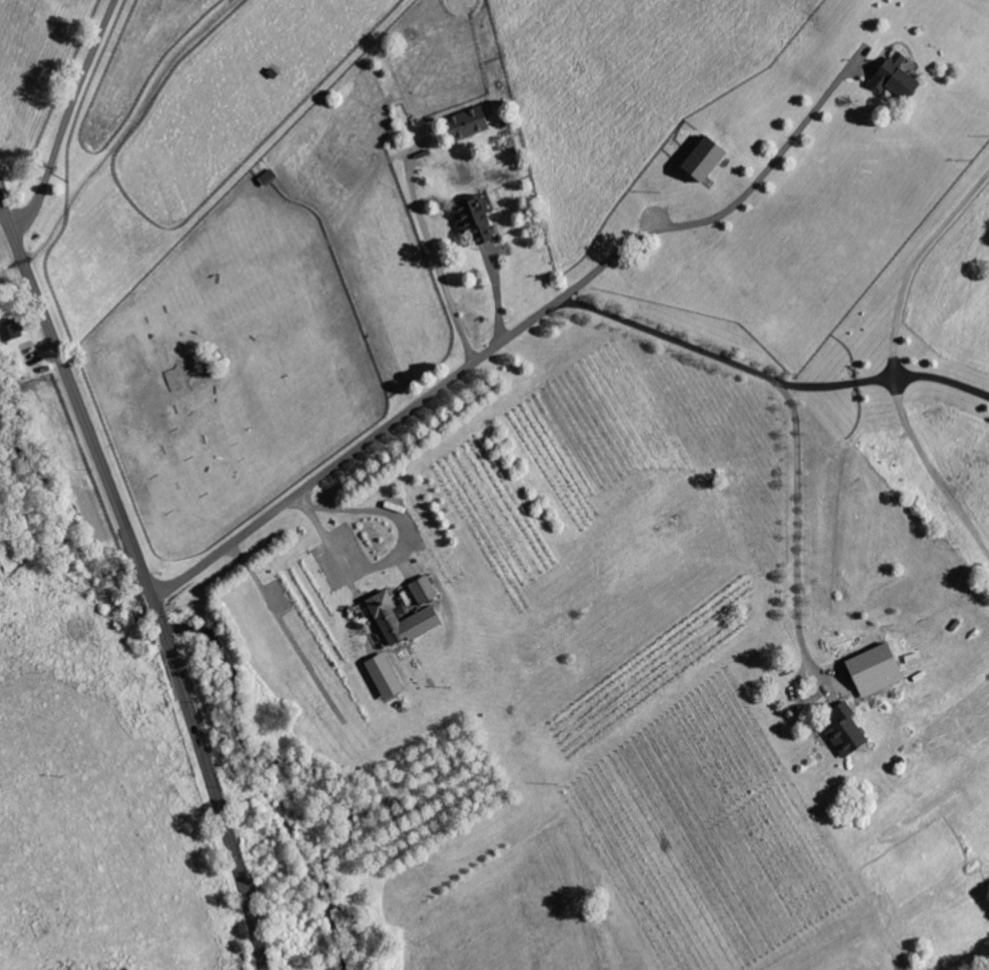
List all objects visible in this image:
building: (900, 78)
road: (66, 119)
building: (471, 122)
building: (712, 157)
building: (269, 176)
building: (478, 222)
road: (434, 257)
road: (912, 263)
road: (495, 298)
road: (490, 350)
road: (769, 379)
road: (796, 535)
road: (397, 557)
road: (145, 580)
building: (425, 590)
building: (427, 615)
building: (387, 676)
building: (850, 733)

